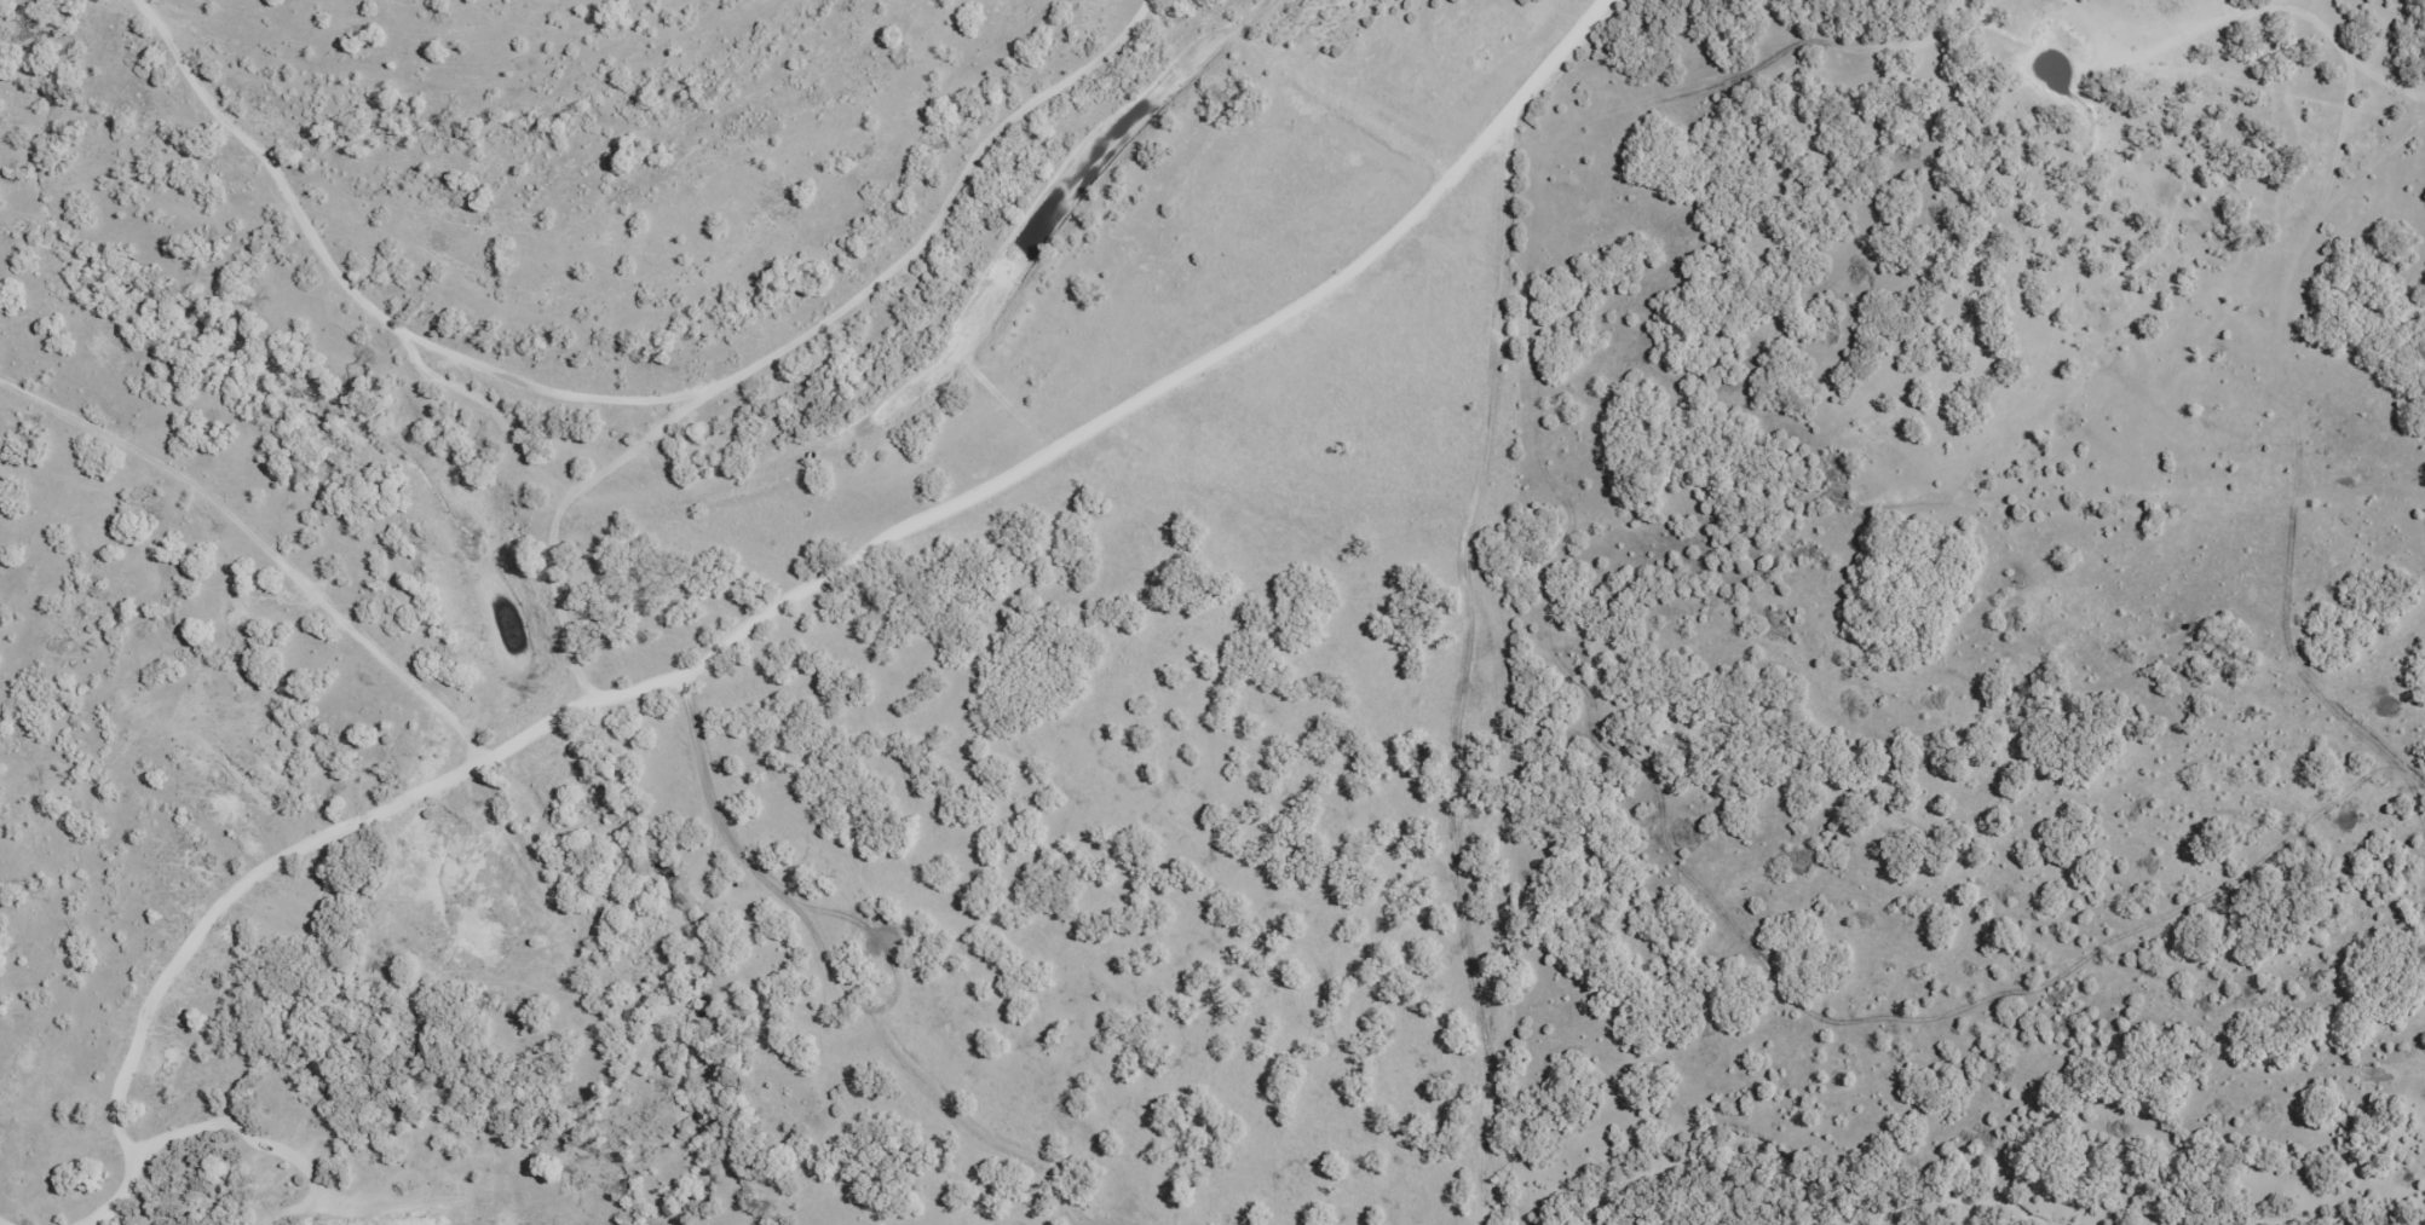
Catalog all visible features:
road: (1274, 336)
road: (36, 1152)
road: (33, 1210)

